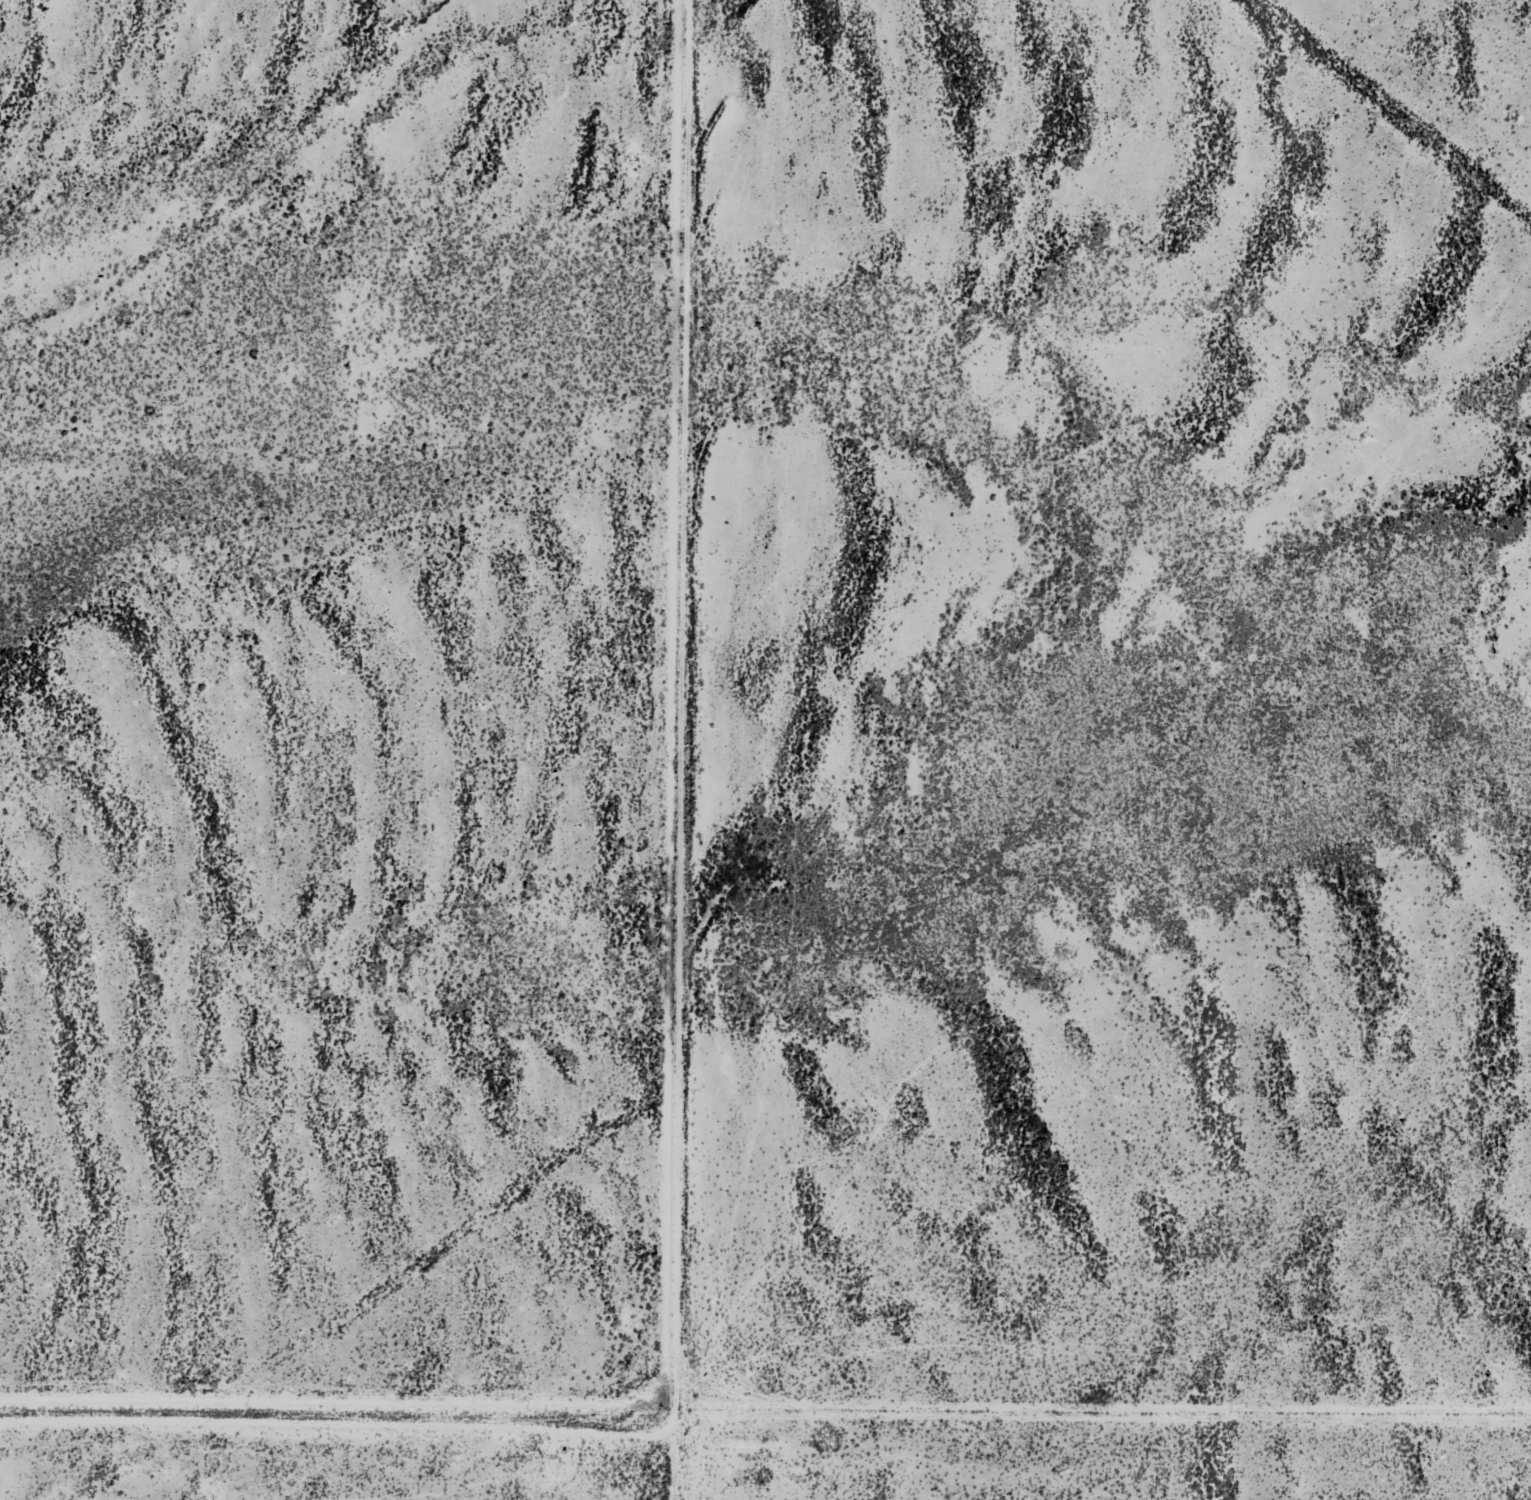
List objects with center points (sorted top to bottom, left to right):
road: (644, 750)
road: (308, 1438)

